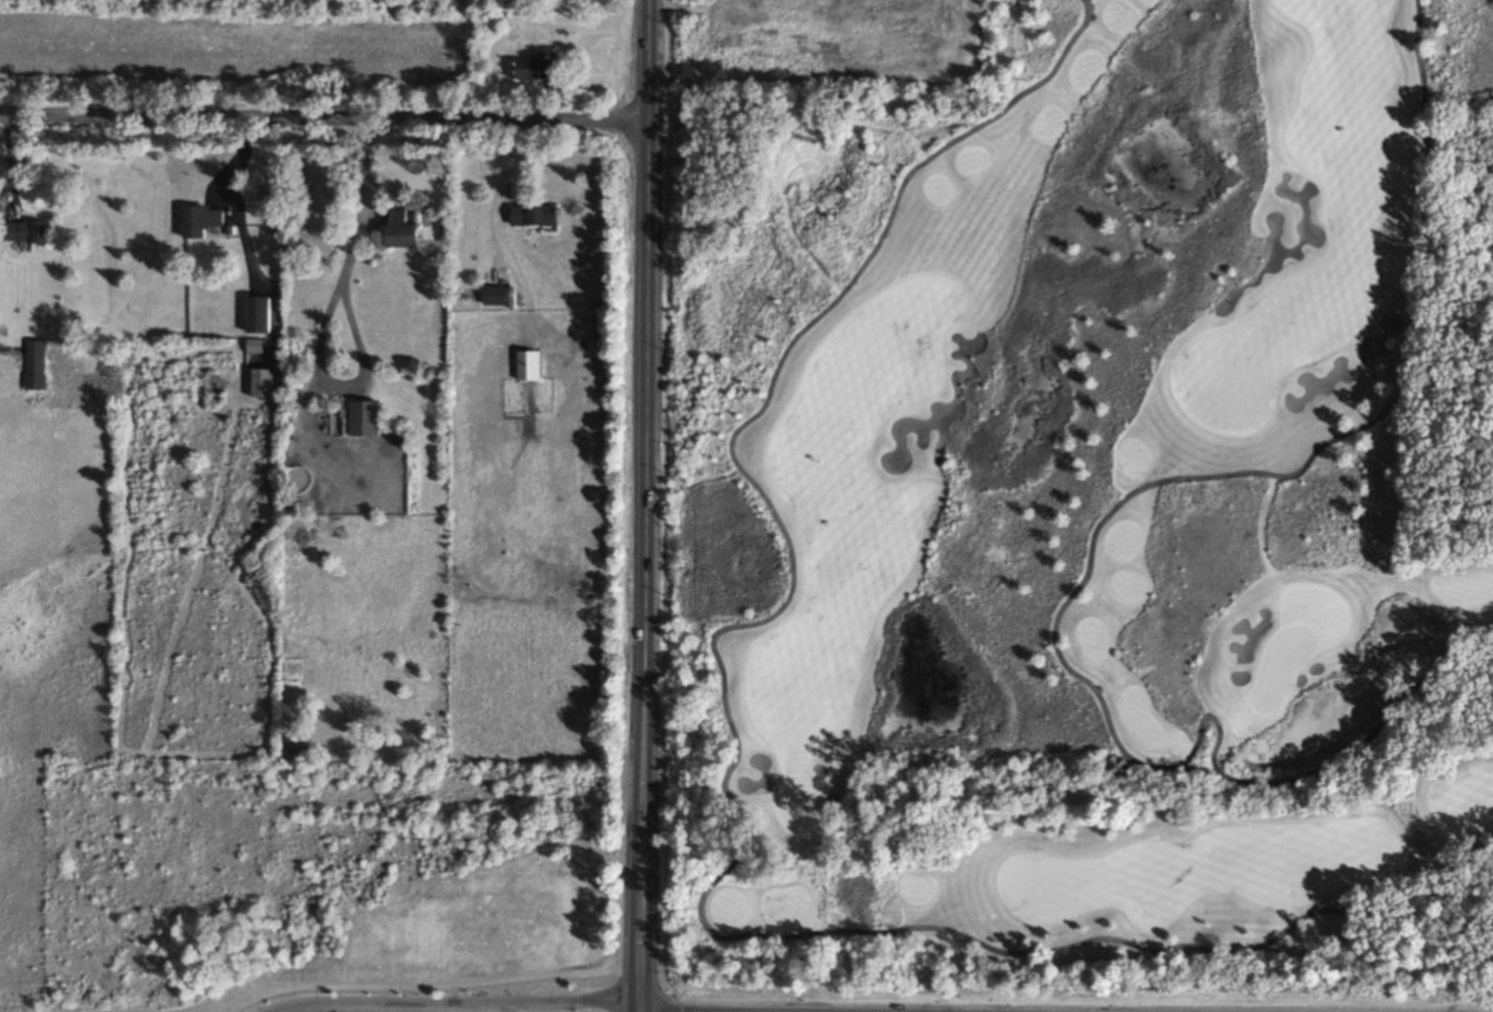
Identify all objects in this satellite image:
crop: (225, 48)
building: (539, 69)
road: (323, 117)
road: (523, 158)
building: (534, 215)
building: (202, 219)
building: (401, 231)
building: (25, 232)
road: (503, 244)
building: (495, 294)
building: (256, 313)
road: (324, 318)
road: (784, 350)
building: (35, 363)
building: (528, 364)
building: (262, 381)
building: (364, 417)
road: (1297, 470)
park: (1087, 496)
road: (643, 505)
road: (1372, 731)
road: (1197, 734)
road: (1009, 951)
road: (409, 1009)
road: (417, 1011)

